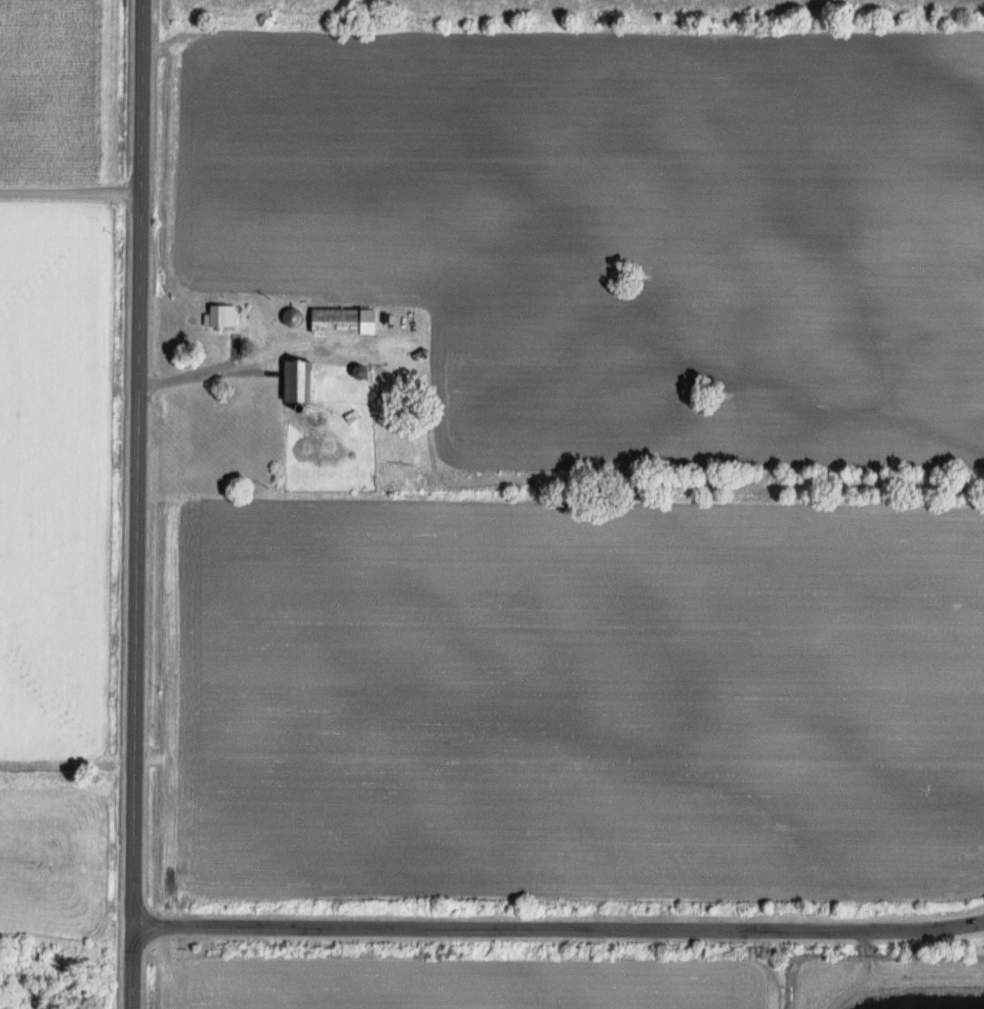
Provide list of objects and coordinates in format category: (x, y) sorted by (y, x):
road: (70, 193)
building: (215, 316)
building: (327, 322)
road: (192, 378)
building: (289, 382)
road: (136, 504)
road: (557, 928)

